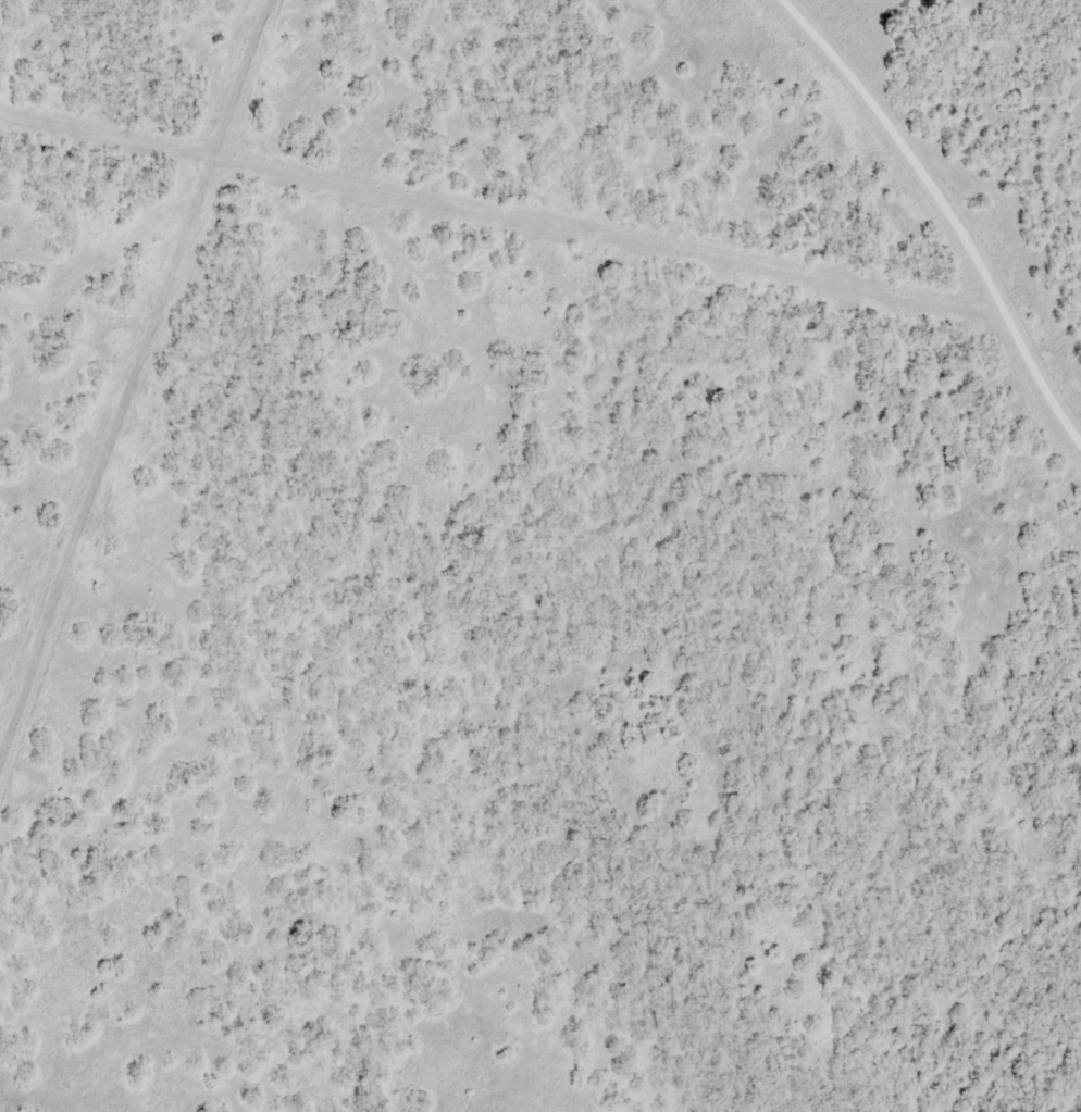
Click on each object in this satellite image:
road: (907, 232)

